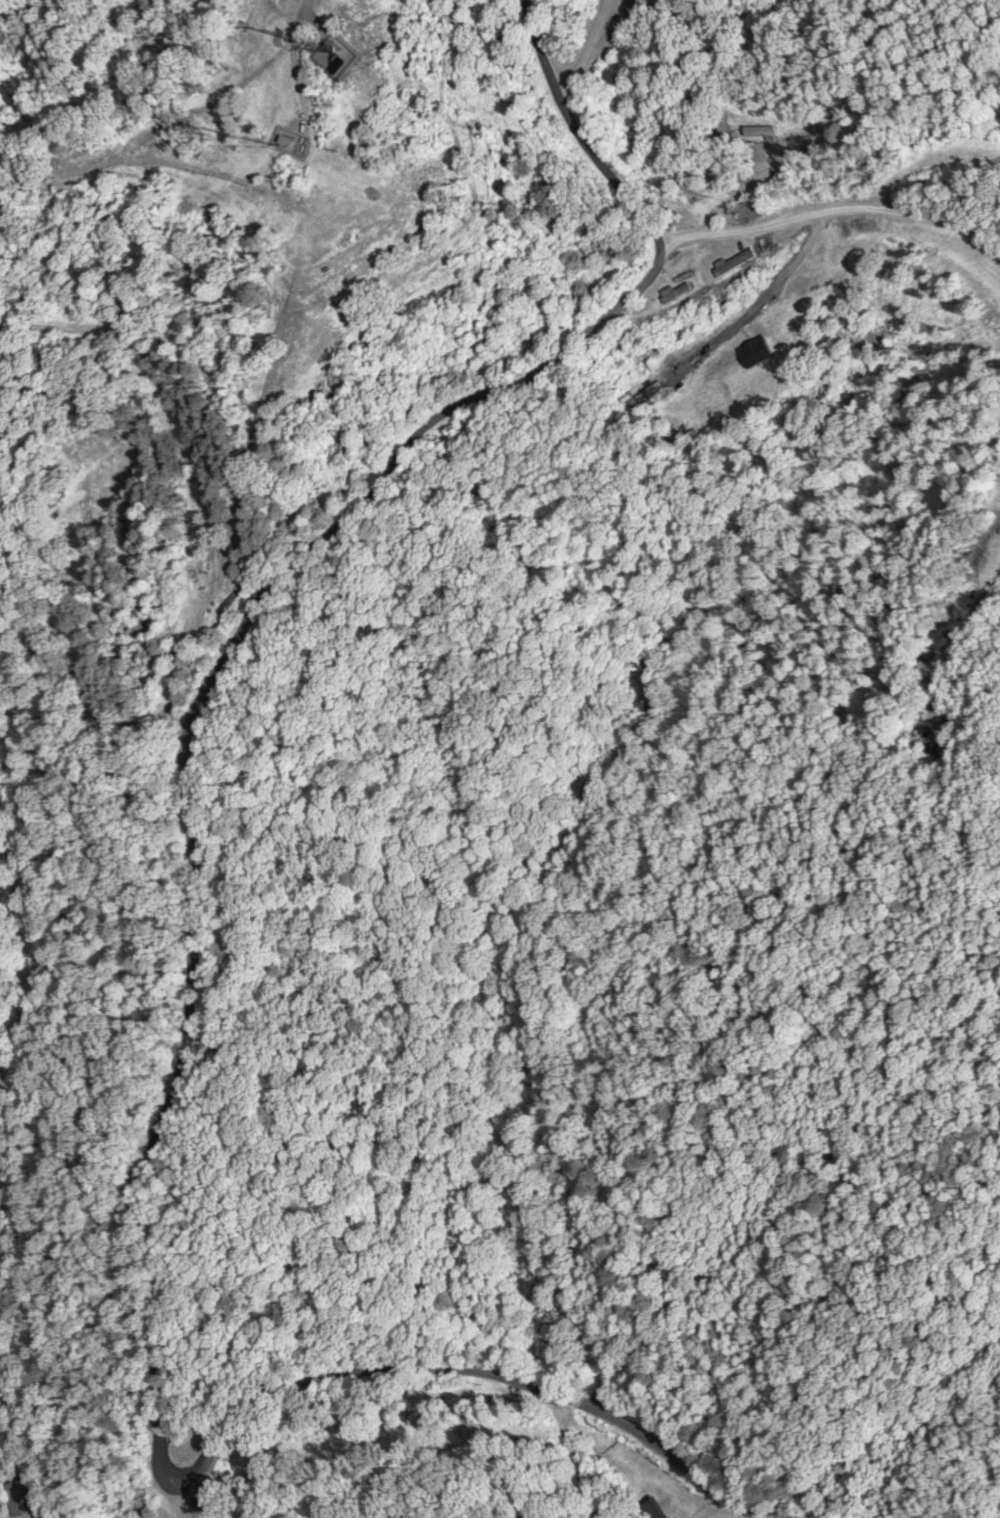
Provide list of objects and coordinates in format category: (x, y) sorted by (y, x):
road: (579, 122)
building: (292, 140)
road: (828, 207)
building: (877, 225)
building: (739, 262)
building: (817, 287)
building: (678, 291)
building: (927, 738)
road: (138, 1126)
building: (23, 1496)
road: (181, 1507)
road: (192, 1507)
building: (658, 1509)

